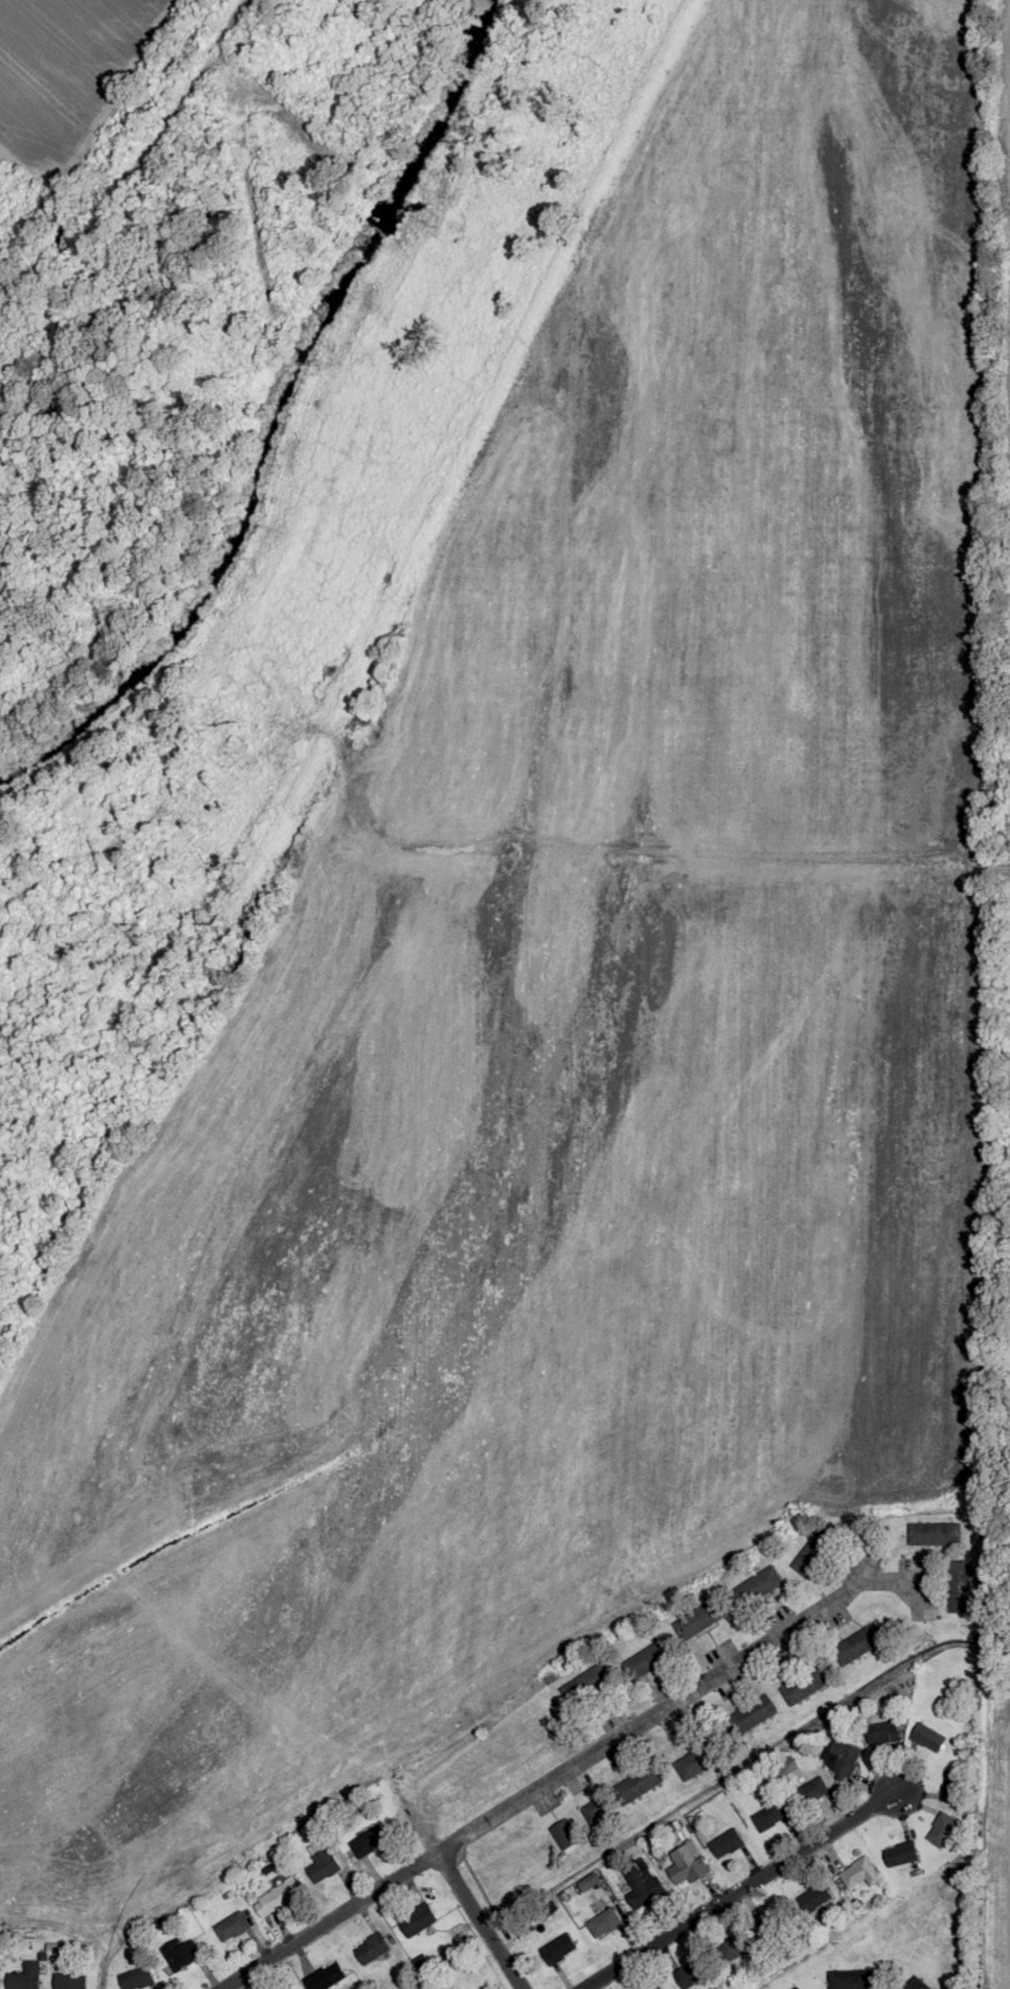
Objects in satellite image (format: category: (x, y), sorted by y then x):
road: (980, 843)
building: (933, 1535)
building: (814, 1553)
building: (758, 1587)
building: (959, 1587)
building: (702, 1618)
building: (859, 1644)
building: (652, 1659)
building: (601, 1676)
building: (806, 1684)
building: (755, 1713)
building: (884, 1733)
building: (928, 1738)
building: (841, 1756)
building: (701, 1758)
building: (787, 1765)
road: (566, 1766)
building: (640, 1783)
building: (952, 1785)
building: (814, 1789)
building: (597, 1811)
building: (769, 1816)
building: (942, 1830)
building: (566, 1834)
building: (368, 1841)
building: (727, 1843)
building: (901, 1854)
building: (322, 1861)
road: (441, 1862)
building: (688, 1869)
building: (858, 1874)
building: (642, 1882)
road: (735, 1888)
building: (277, 1897)
building: (816, 1898)
building: (417, 1920)
building: (603, 1923)
building: (231, 1927)
road: (484, 1932)
building: (735, 1947)
building: (371, 1949)
building: (559, 1949)
building: (180, 1953)
building: (691, 1974)
building: (25, 1977)
building: (325, 1977)
building: (136, 1978)
building: (856, 1979)
building: (70, 1981)
building: (916, 1984)
building: (658, 1987)
building: (293, 1988)
building: (797, 1988)

